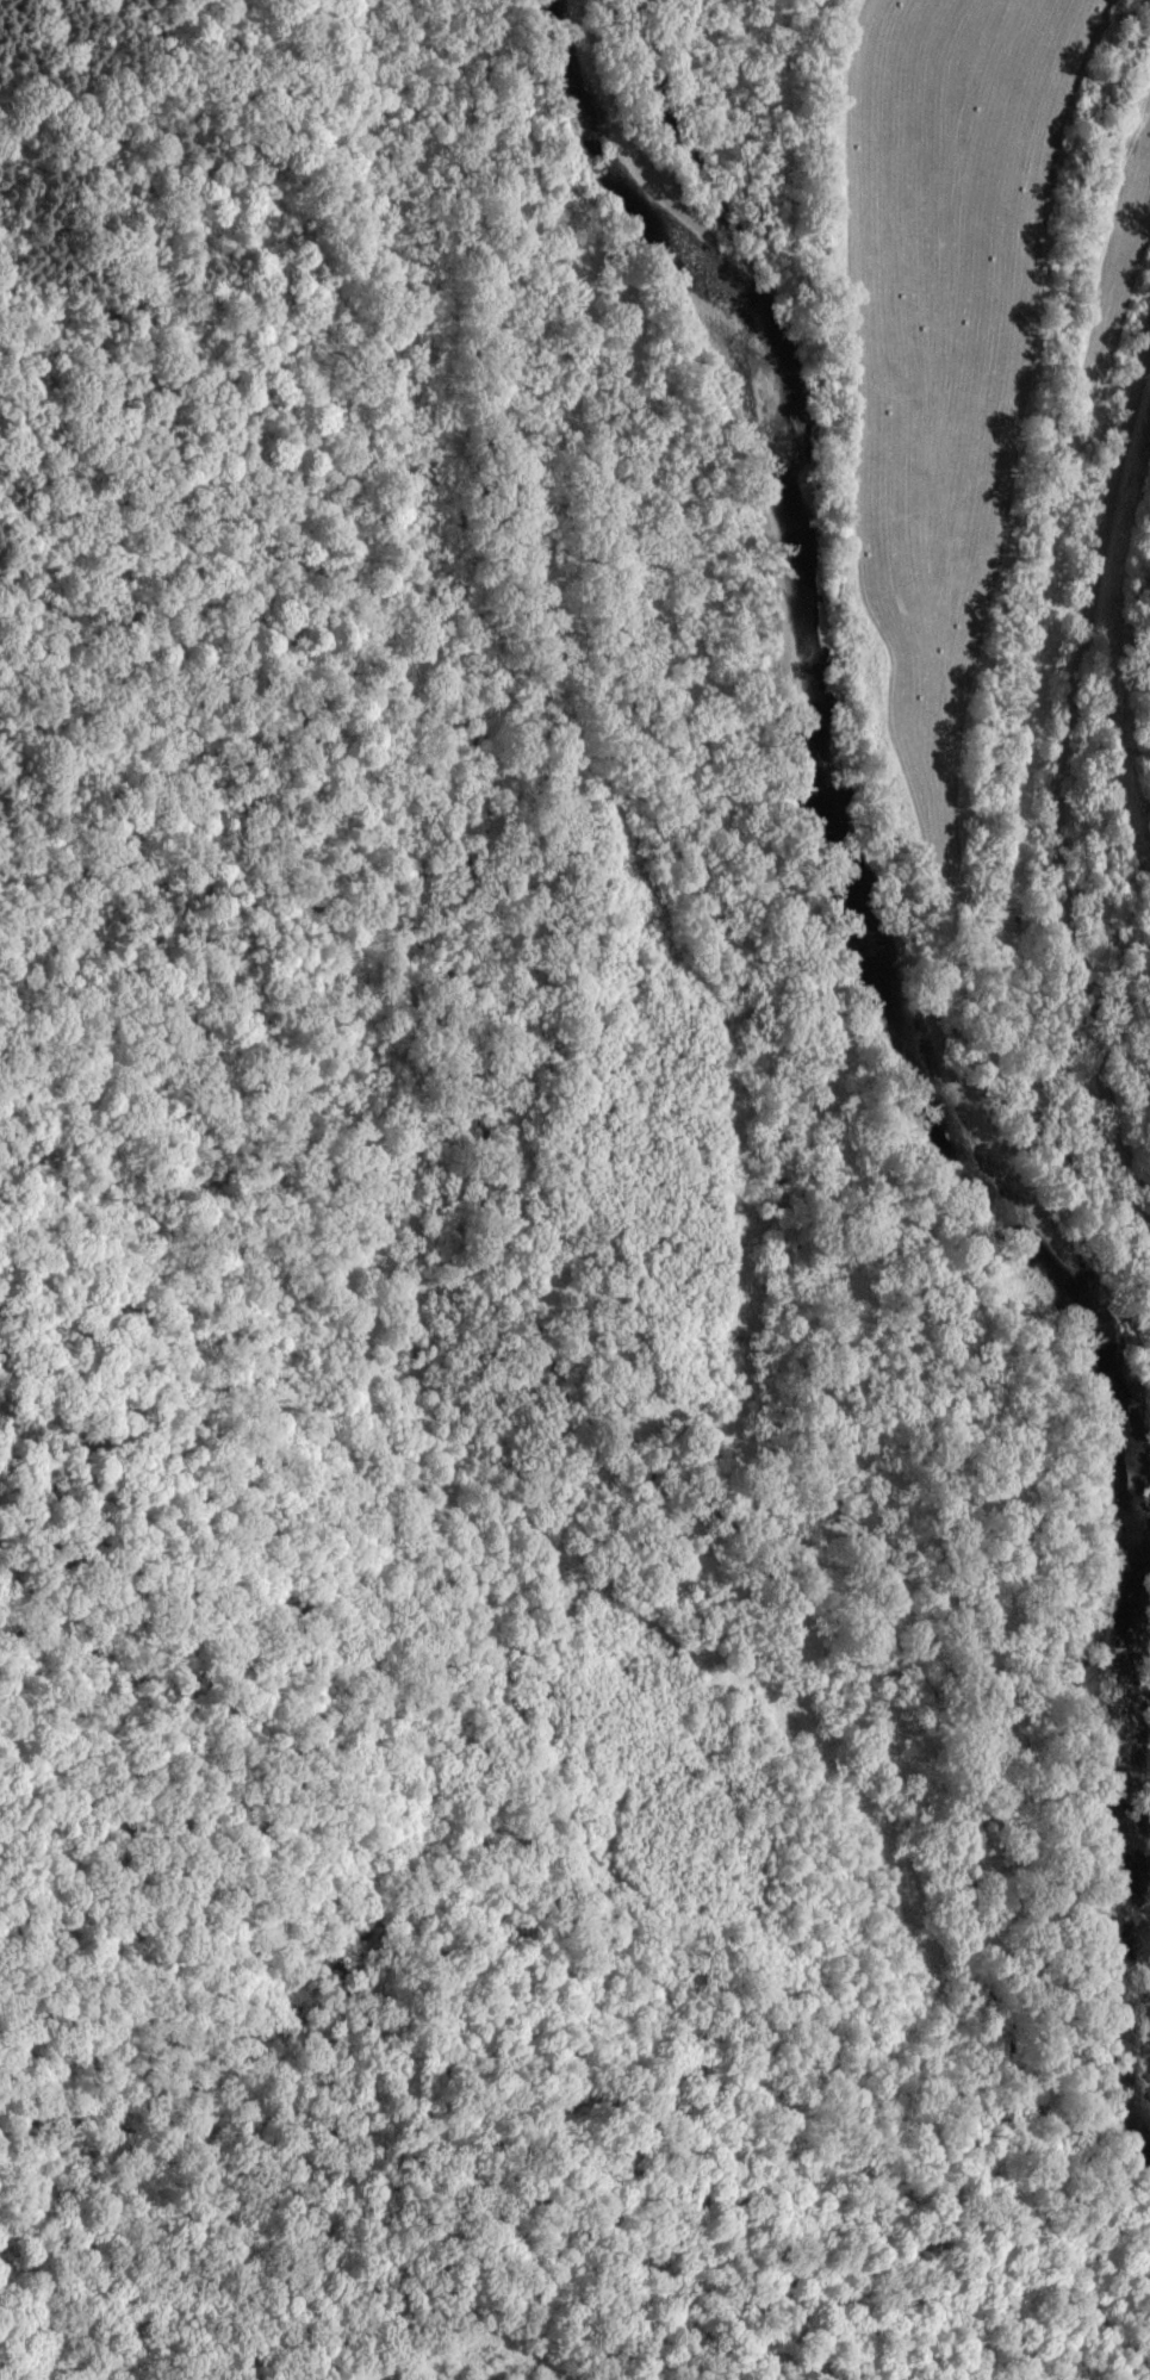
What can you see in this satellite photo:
road: (1069, 779)
river: (891, 971)

